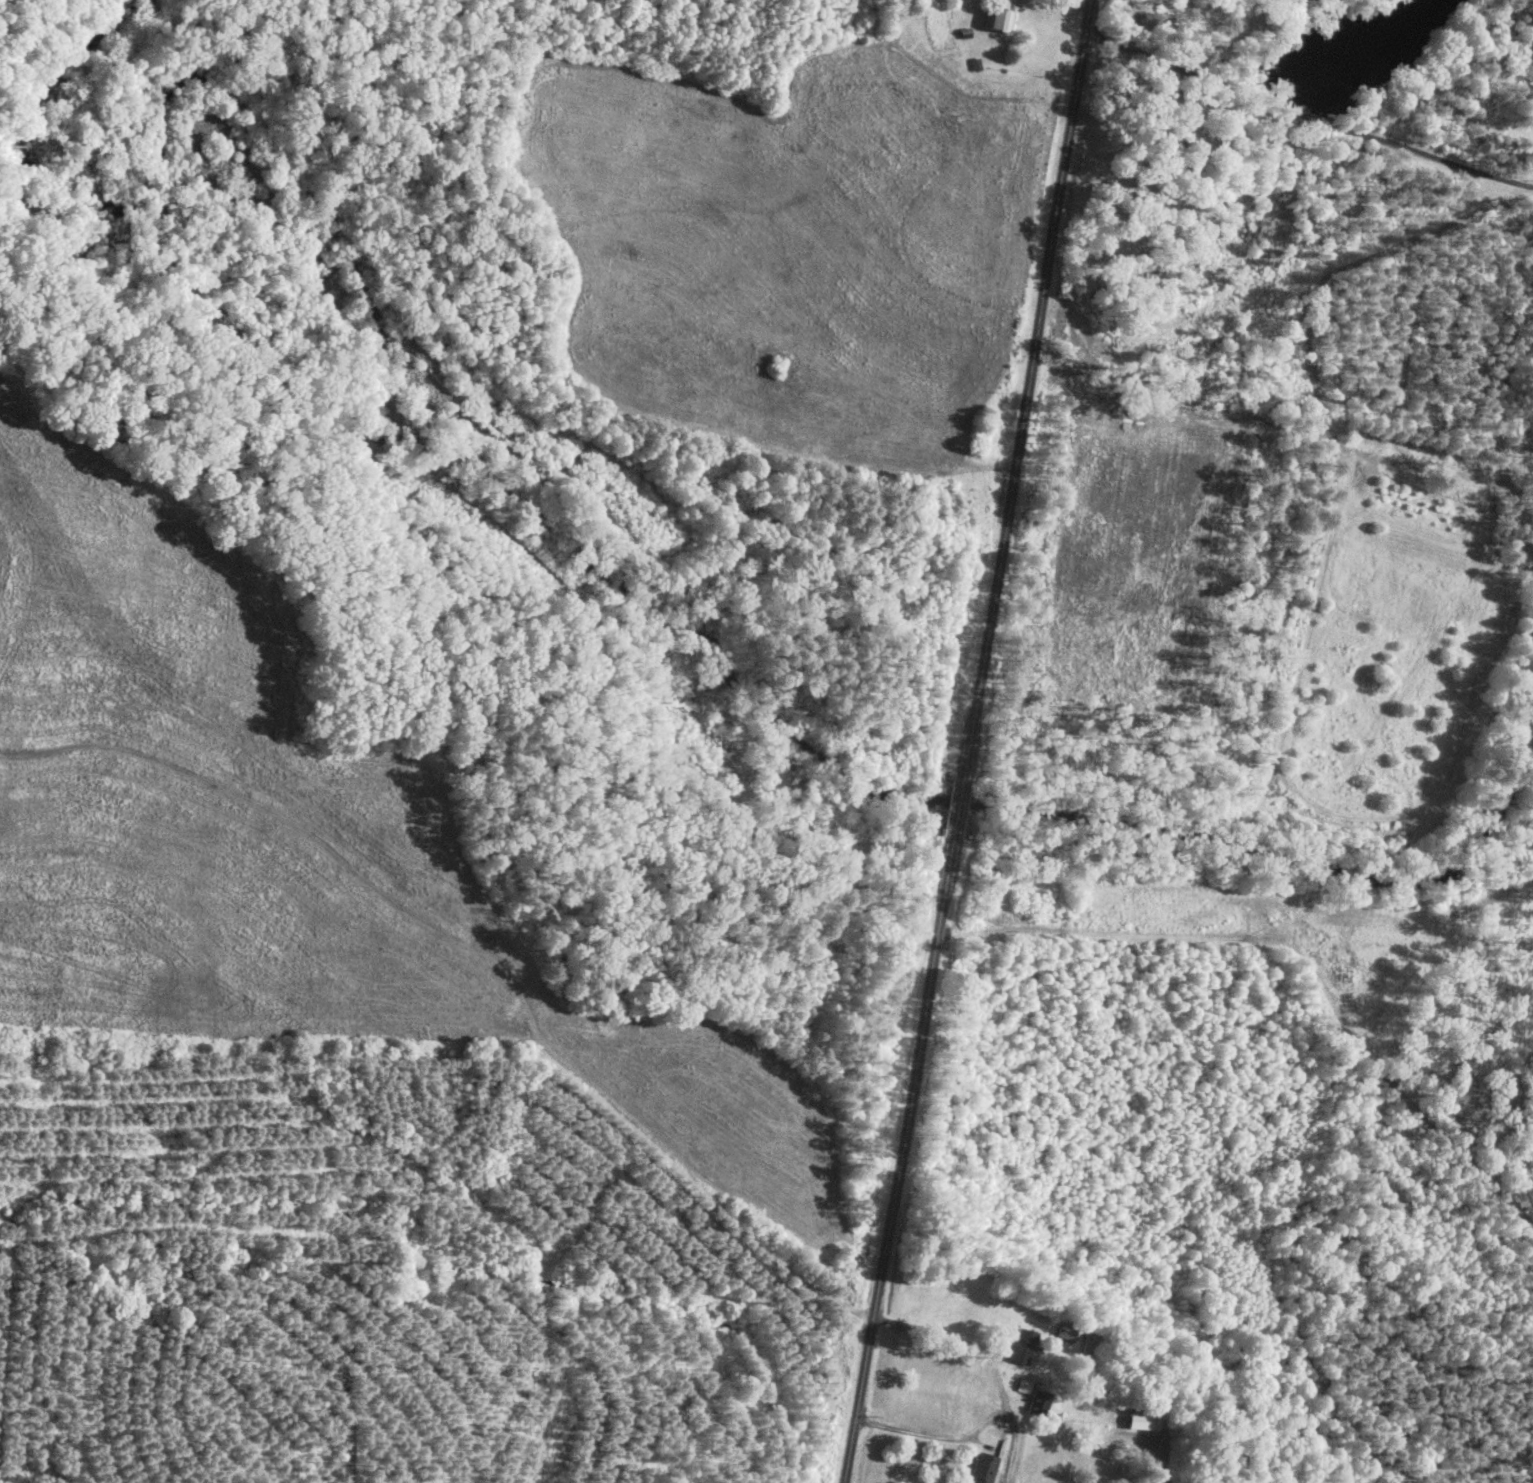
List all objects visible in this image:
building: (1000, 16)
road: (1138, 25)
road: (1303, 112)
road: (963, 741)
road: (932, 1333)
building: (1017, 1345)
building: (1144, 1421)
road: (955, 1438)
building: (980, 1468)

